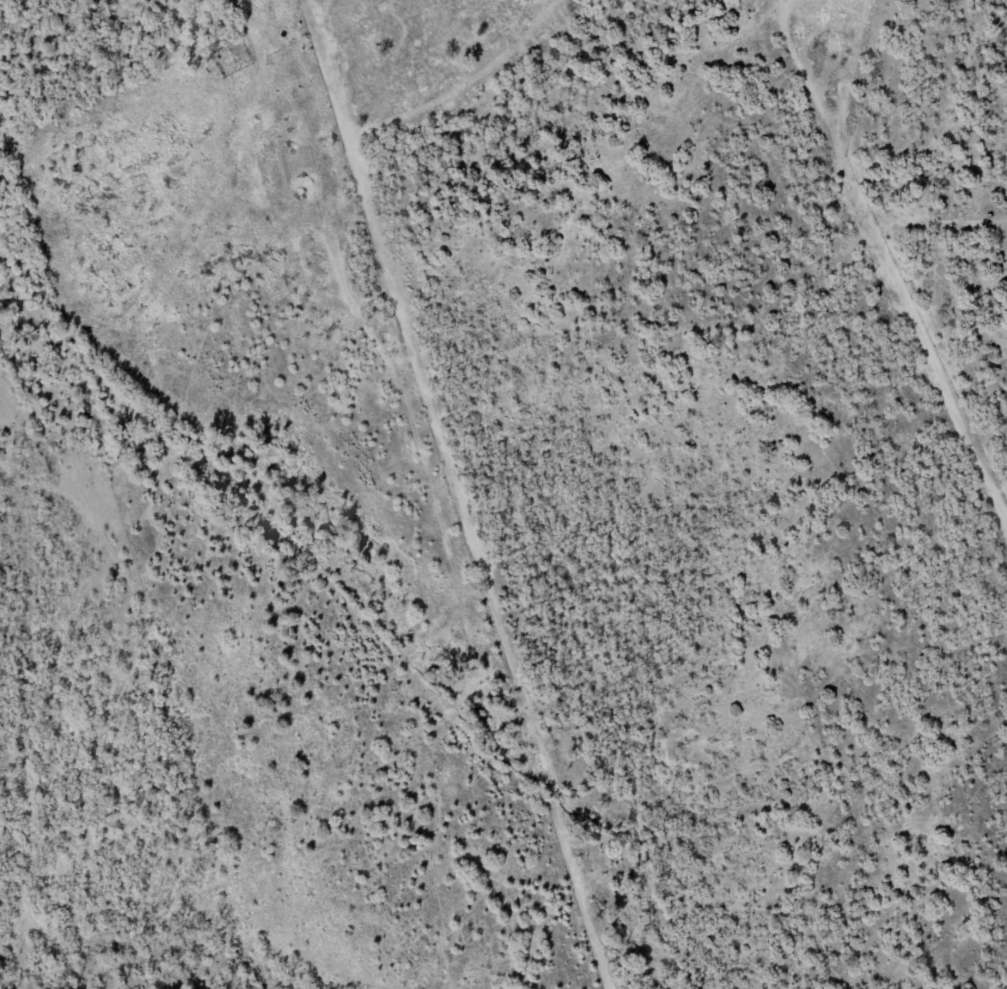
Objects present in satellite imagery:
road: (475, 473)

